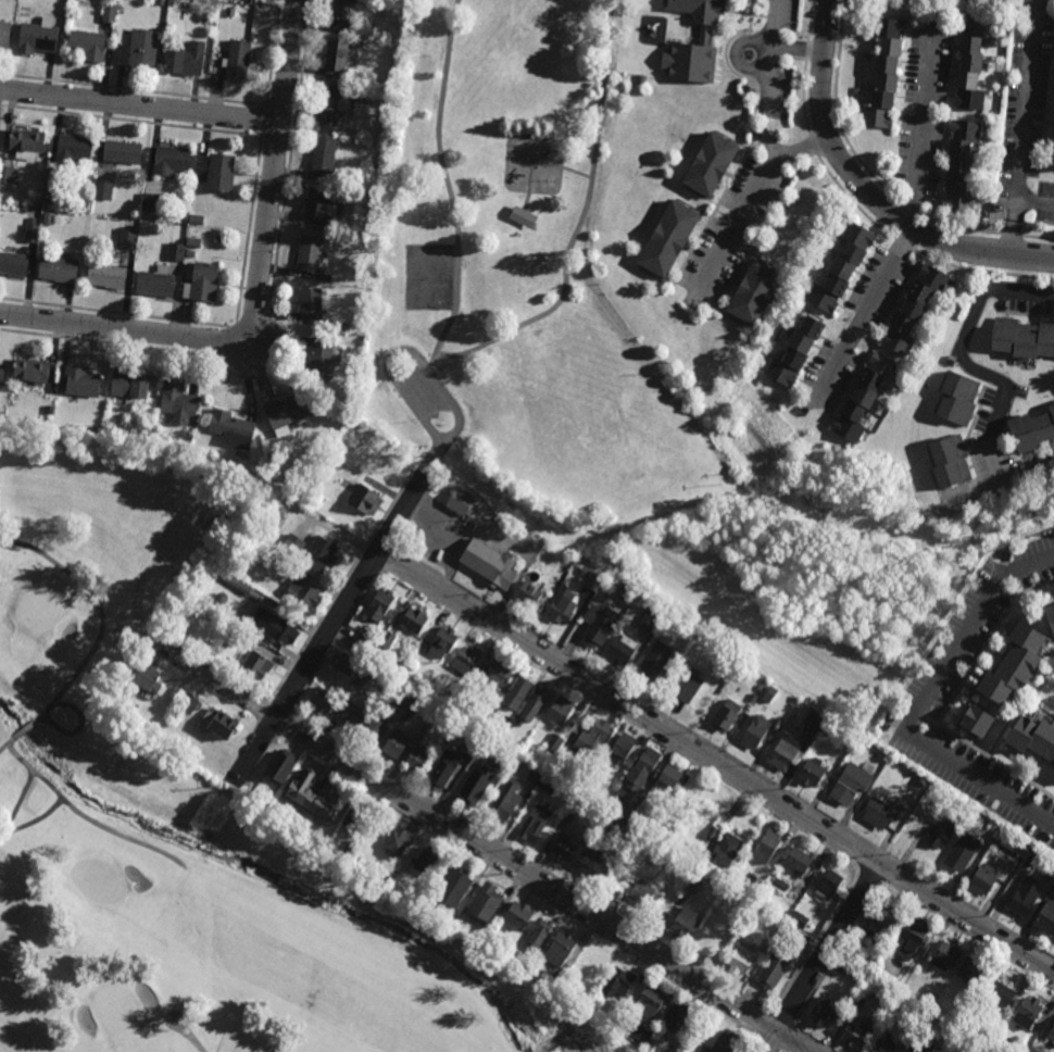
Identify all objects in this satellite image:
building: (990, 0)
building: (160, 2)
building: (171, 2)
building: (342, 10)
building: (229, 12)
building: (109, 13)
building: (365, 28)
building: (704, 34)
building: (4, 36)
building: (37, 40)
road: (1044, 40)
building: (394, 46)
building: (87, 47)
road: (773, 48)
building: (138, 51)
road: (761, 52)
building: (873, 52)
building: (866, 55)
building: (238, 60)
building: (336, 60)
building: (185, 61)
building: (970, 63)
building: (882, 73)
road: (769, 78)
building: (640, 79)
building: (856, 90)
road: (140, 105)
building: (852, 109)
building: (330, 110)
building: (857, 110)
building: (995, 112)
parking lot: (1025, 115)
road: (1040, 124)
road: (1026, 127)
road: (925, 129)
building: (986, 130)
building: (26, 142)
building: (73, 149)
building: (122, 153)
building: (323, 156)
building: (170, 161)
building: (710, 164)
road: (540, 165)
building: (959, 166)
building: (215, 172)
building: (975, 174)
building: (5, 175)
building: (364, 183)
road: (447, 186)
building: (102, 191)
road: (865, 192)
building: (983, 198)
road: (1037, 198)
building: (48, 202)
building: (150, 203)
road: (750, 204)
building: (318, 210)
building: (49, 217)
building: (520, 217)
building: (197, 218)
road: (581, 221)
building: (32, 229)
road: (1038, 236)
building: (127, 237)
building: (218, 237)
building: (667, 237)
building: (193, 241)
building: (367, 242)
building: (176, 250)
building: (190, 252)
building: (309, 255)
building: (13, 265)
building: (841, 267)
building: (58, 270)
park: (520, 276)
building: (105, 277)
park: (429, 279)
building: (154, 284)
building: (203, 284)
building: (753, 290)
road: (259, 295)
building: (310, 306)
building: (913, 308)
road: (863, 318)
road: (210, 324)
building: (331, 325)
building: (342, 326)
building: (788, 326)
road: (274, 327)
building: (1022, 339)
road: (399, 350)
building: (795, 351)
building: (771, 352)
building: (319, 360)
building: (30, 371)
building: (1, 373)
road: (991, 377)
building: (80, 383)
building: (127, 386)
park: (580, 391)
building: (344, 392)
parking lot: (425, 397)
building: (863, 397)
building: (177, 399)
building: (957, 400)
building: (868, 414)
building: (883, 414)
building: (284, 415)
building: (106, 430)
building: (231, 431)
building: (1032, 431)
road: (438, 455)
building: (949, 463)
building: (338, 467)
road: (422, 477)
building: (250, 479)
building: (278, 485)
building: (365, 502)
building: (462, 502)
road: (413, 514)
building: (279, 515)
road: (384, 537)
building: (293, 544)
building: (252, 552)
building: (319, 555)
road: (386, 555)
road: (369, 561)
building: (489, 564)
building: (593, 580)
road: (342, 584)
building: (239, 585)
building: (304, 592)
building: (530, 594)
building: (222, 598)
building: (379, 605)
building: (562, 605)
building: (1050, 616)
road: (1044, 617)
building: (414, 621)
building: (599, 625)
road: (102, 628)
road: (331, 628)
building: (281, 634)
road: (337, 639)
building: (388, 640)
building: (443, 642)
building: (364, 643)
road: (987, 643)
building: (623, 650)
building: (467, 660)
building: (654, 661)
building: (1017, 663)
building: (348, 664)
building: (258, 666)
building: (497, 675)
building: (364, 676)
building: (147, 678)
building: (677, 685)
building: (465, 691)
building: (516, 693)
building: (177, 694)
road: (1034, 698)
building: (497, 699)
building: (323, 701)
building: (410, 701)
road: (921, 703)
road: (284, 704)
building: (534, 704)
building: (188, 705)
building: (560, 711)
road: (617, 714)
building: (727, 715)
building: (353, 717)
building: (979, 719)
building: (430, 721)
building: (520, 723)
road: (289, 724)
building: (222, 726)
road: (1006, 727)
building: (373, 731)
building: (755, 732)
building: (1034, 736)
building: (594, 737)
building: (217, 743)
building: (555, 743)
building: (396, 744)
building: (469, 747)
building: (178, 750)
building: (620, 750)
road: (724, 751)
building: (549, 753)
building: (786, 754)
building: (189, 756)
road: (989, 756)
building: (418, 759)
road: (715, 763)
building: (587, 766)
building: (279, 768)
building: (442, 769)
building: (642, 771)
building: (812, 773)
building: (535, 775)
building: (670, 777)
building: (550, 785)
building: (851, 786)
building: (472, 790)
building: (310, 796)
road: (17, 804)
building: (504, 805)
building: (624, 805)
building: (575, 809)
road: (79, 811)
park: (190, 811)
building: (878, 814)
building: (355, 818)
road: (35, 821)
building: (534, 823)
building: (654, 826)
building: (723, 827)
building: (619, 829)
building: (940, 836)
building: (397, 841)
road: (487, 843)
building: (1012, 843)
building: (768, 846)
building: (350, 849)
building: (564, 849)
building: (724, 851)
building: (410, 852)
building: (962, 852)
building: (672, 860)
building: (695, 860)
building: (356, 861)
building: (426, 861)
building: (799, 861)
road: (531, 862)
building: (589, 863)
building: (644, 863)
road: (870, 871)
building: (610, 878)
building: (630, 879)
building: (982, 880)
building: (1053, 882)
road: (519, 884)
building: (693, 884)
building: (780, 884)
building: (751, 885)
building: (829, 886)
building: (403, 887)
building: (453, 887)
building: (419, 892)
building: (645, 897)
building: (1025, 901)
building: (485, 903)
building: (743, 904)
building: (518, 915)
building: (798, 917)
building: (886, 917)
building: (1046, 919)
building: (464, 920)
building: (685, 924)
road: (970, 934)
building: (794, 935)
building: (914, 935)
building: (538, 936)
road: (818, 938)
building: (713, 939)
building: (873, 939)
road: (826, 947)
building: (560, 950)
road: (836, 950)
building: (512, 954)
building: (945, 956)
building: (741, 959)
building: (883, 960)
building: (852, 964)
building: (525, 967)
building: (774, 969)
building: (971, 970)
building: (555, 978)
building: (618, 984)
building: (1001, 994)
building: (931, 995)
building: (857, 1000)
building: (650, 1002)
building: (912, 1009)
building: (1027, 1013)
building: (821, 1014)
building: (674, 1018)
road: (783, 1018)
road: (762, 1020)
building: (911, 1023)
building: (858, 1032)
building: (640, 1034)
building: (1051, 1035)
building: (961, 1037)
road: (187, 1038)
road: (790, 1038)
road: (817, 1039)
road: (768, 1041)
building: (726, 1042)
building: (881, 1043)
building: (921, 1045)
road: (783, 1051)

